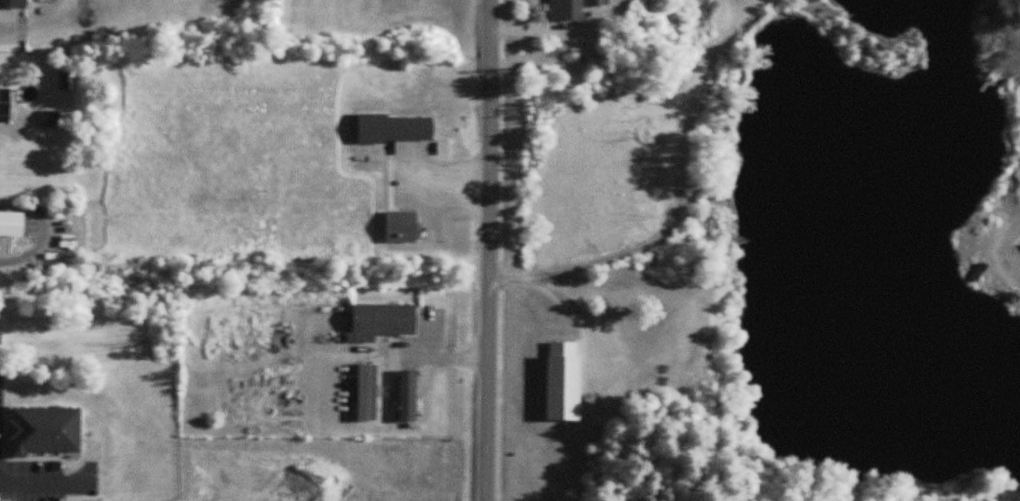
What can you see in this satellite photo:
building: (14, 4)
building: (567, 10)
road: (47, 25)
building: (67, 80)
building: (5, 104)
building: (51, 119)
building: (396, 129)
building: (12, 225)
building: (402, 228)
road: (486, 250)
building: (385, 323)
building: (368, 394)
building: (409, 397)

